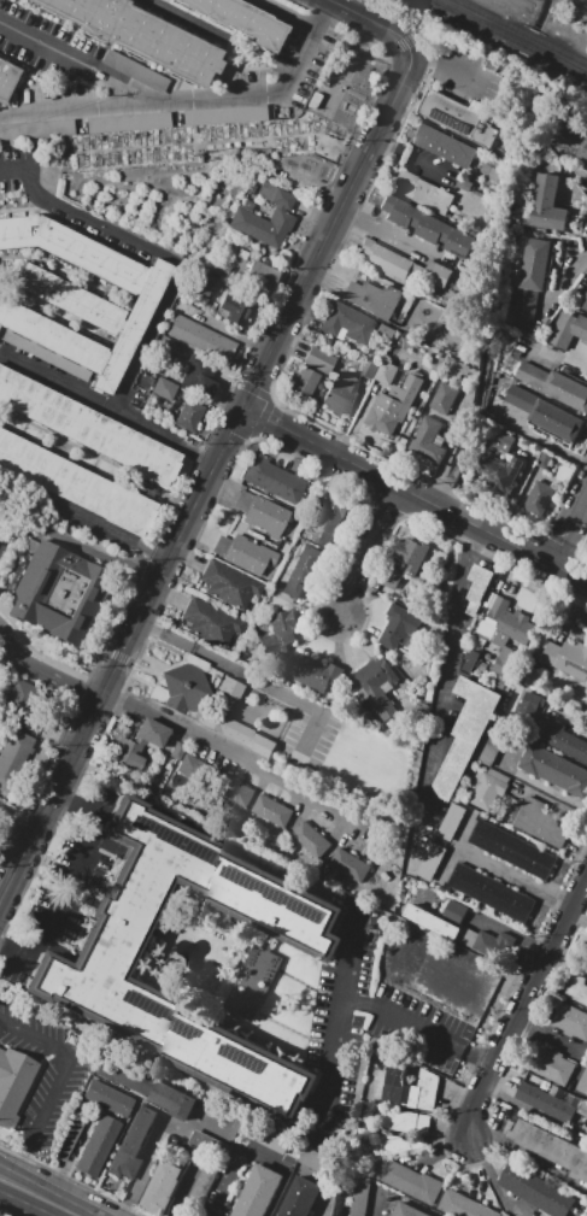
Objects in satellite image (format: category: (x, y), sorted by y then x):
road: (289, 14)
road: (366, 19)
building: (242, 20)
railway: (522, 31)
building: (140, 35)
railway: (511, 37)
road: (71, 58)
road: (446, 67)
building: (134, 72)
building: (7, 78)
road: (193, 96)
building: (315, 100)
building: (347, 110)
building: (224, 116)
building: (460, 118)
building: (128, 123)
building: (36, 130)
building: (570, 136)
building: (445, 145)
building: (583, 149)
road: (409, 157)
road: (574, 165)
road: (12, 170)
building: (464, 184)
building: (422, 192)
road: (575, 200)
building: (548, 204)
building: (398, 211)
building: (266, 221)
road: (95, 223)
road: (330, 227)
building: (427, 227)
road: (393, 237)
building: (456, 241)
building: (387, 262)
building: (536, 264)
building: (219, 268)
building: (262, 275)
building: (436, 275)
building: (199, 283)
road: (565, 283)
building: (77, 300)
building: (369, 300)
building: (585, 302)
building: (526, 304)
building: (237, 309)
building: (347, 324)
building: (581, 327)
building: (563, 329)
building: (202, 339)
road: (146, 340)
road: (553, 356)
building: (369, 369)
building: (311, 370)
building: (387, 372)
building: (196, 374)
building: (554, 384)
building: (165, 389)
building: (341, 394)
building: (444, 396)
building: (394, 404)
road: (106, 409)
building: (545, 412)
building: (189, 416)
building: (87, 429)
building: (427, 439)
building: (504, 441)
road: (541, 441)
road: (448, 450)
building: (545, 458)
building: (501, 472)
building: (260, 474)
building: (76, 484)
building: (288, 487)
road: (413, 494)
building: (538, 498)
building: (262, 513)
road: (84, 515)
building: (329, 517)
road: (568, 528)
road: (78, 546)
road: (362, 551)
building: (245, 553)
building: (413, 558)
building: (301, 571)
building: (391, 577)
building: (229, 584)
building: (477, 587)
building: (58, 591)
building: (505, 621)
building: (211, 622)
building: (399, 627)
building: (280, 633)
road: (457, 639)
road: (6, 642)
road: (119, 653)
building: (568, 658)
road: (7, 659)
building: (470, 660)
building: (507, 663)
building: (313, 671)
building: (533, 677)
road: (55, 679)
building: (378, 685)
building: (186, 686)
road: (259, 695)
building: (18, 697)
building: (528, 705)
building: (219, 709)
road: (569, 718)
building: (466, 733)
building: (564, 740)
building: (136, 745)
building: (17, 746)
building: (489, 746)
building: (177, 752)
road: (239, 752)
building: (188, 766)
building: (556, 770)
building: (7, 773)
building: (488, 788)
building: (233, 791)
road: (553, 792)
road: (553, 803)
building: (271, 811)
road: (17, 818)
building: (451, 821)
building: (540, 822)
building: (481, 832)
building: (310, 840)
building: (497, 841)
road: (456, 848)
building: (512, 848)
road: (10, 850)
building: (527, 857)
building: (430, 862)
building: (542, 864)
building: (348, 865)
building: (458, 877)
road: (515, 879)
road: (75, 881)
building: (475, 883)
building: (491, 892)
building: (506, 899)
building: (522, 907)
building: (454, 911)
road: (579, 918)
building: (432, 921)
road: (511, 930)
building: (487, 942)
building: (104, 956)
building: (586, 959)
road: (569, 963)
building: (254, 980)
building: (577, 988)
road: (523, 1012)
building: (564, 1016)
road: (341, 1022)
parking lot: (372, 1026)
building: (579, 1026)
road: (421, 1029)
road: (553, 1038)
building: (552, 1065)
road: (579, 1070)
parking lot: (47, 1073)
building: (583, 1082)
road: (54, 1085)
building: (13, 1086)
building: (146, 1086)
building: (399, 1088)
building: (427, 1089)
building: (107, 1099)
building: (551, 1100)
road: (532, 1111)
building: (404, 1121)
building: (69, 1139)
building: (272, 1139)
road: (155, 1142)
building: (209, 1144)
building: (398, 1144)
building: (131, 1145)
building: (98, 1146)
building: (550, 1146)
road: (528, 1156)
building: (313, 1158)
road: (491, 1177)
building: (204, 1179)
road: (229, 1181)
building: (411, 1181)
building: (518, 1181)
road: (12, 1185)
building: (165, 1187)
road: (182, 1188)
building: (258, 1192)
building: (301, 1198)
building: (551, 1199)
road: (48, 1203)
building: (454, 1203)
building: (411, 1210)
building: (481, 1210)

